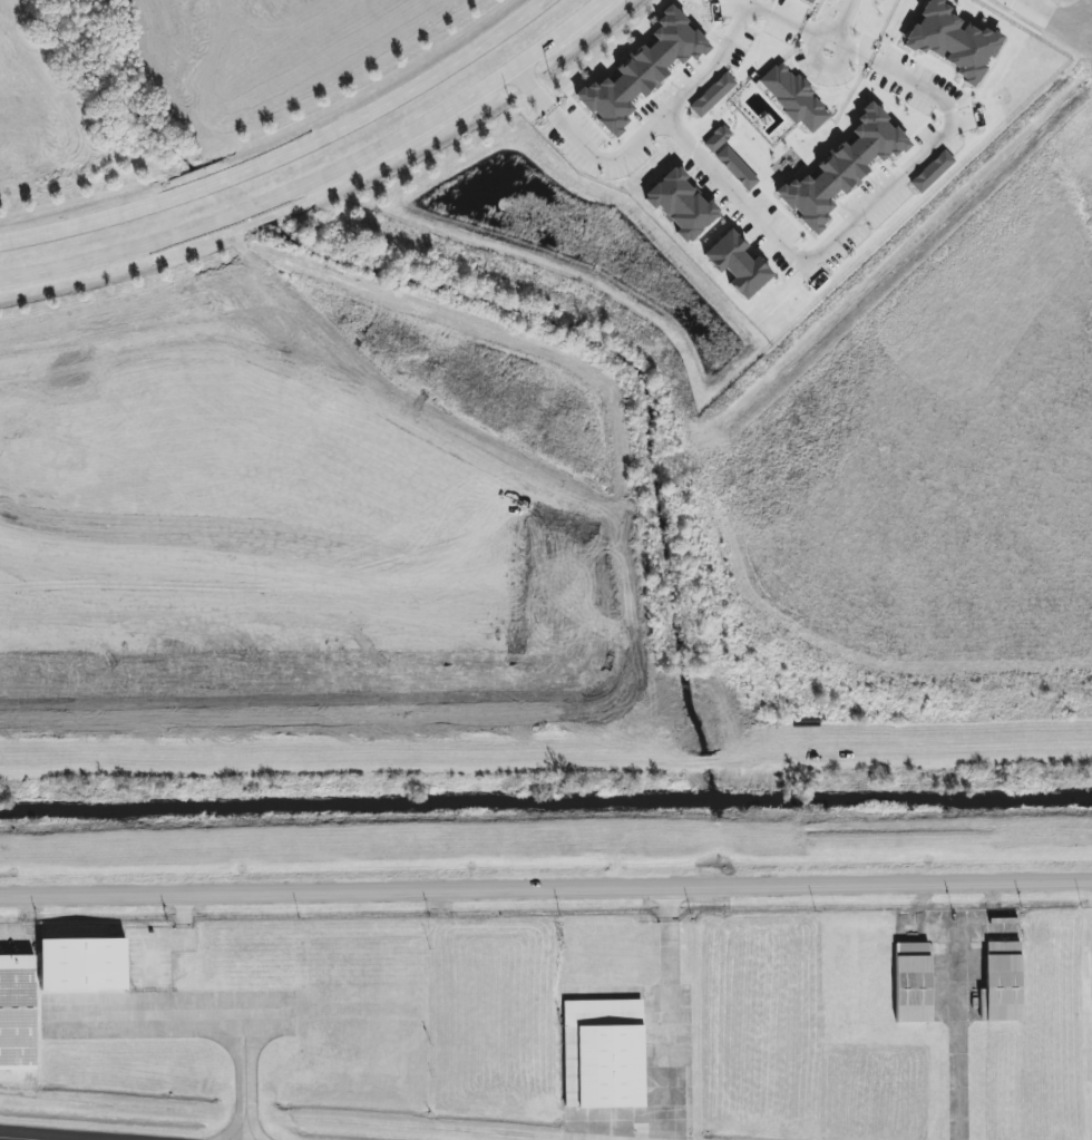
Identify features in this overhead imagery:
building: (809, 1)
road: (1042, 22)
road: (783, 23)
road: (841, 23)
building: (952, 41)
road: (820, 68)
building: (641, 72)
building: (712, 95)
building: (793, 98)
building: (716, 138)
road: (642, 144)
road: (290, 154)
building: (737, 168)
building: (842, 168)
building: (932, 172)
road: (321, 182)
building: (681, 204)
road: (858, 218)
building: (737, 264)
road: (546, 886)
building: (82, 964)
airport apron: (955, 980)
airport hangar: (1001, 987)
building: (1001, 987)
airport hangar: (911, 988)
building: (911, 988)
airport hangar: (17, 1013)
building: (17, 1013)
airport: (552, 1029)
airport hangar: (602, 1066)
building: (602, 1066)
airport apron: (643, 1111)
road: (282, 1120)
airport taxiway: (97, 1132)

